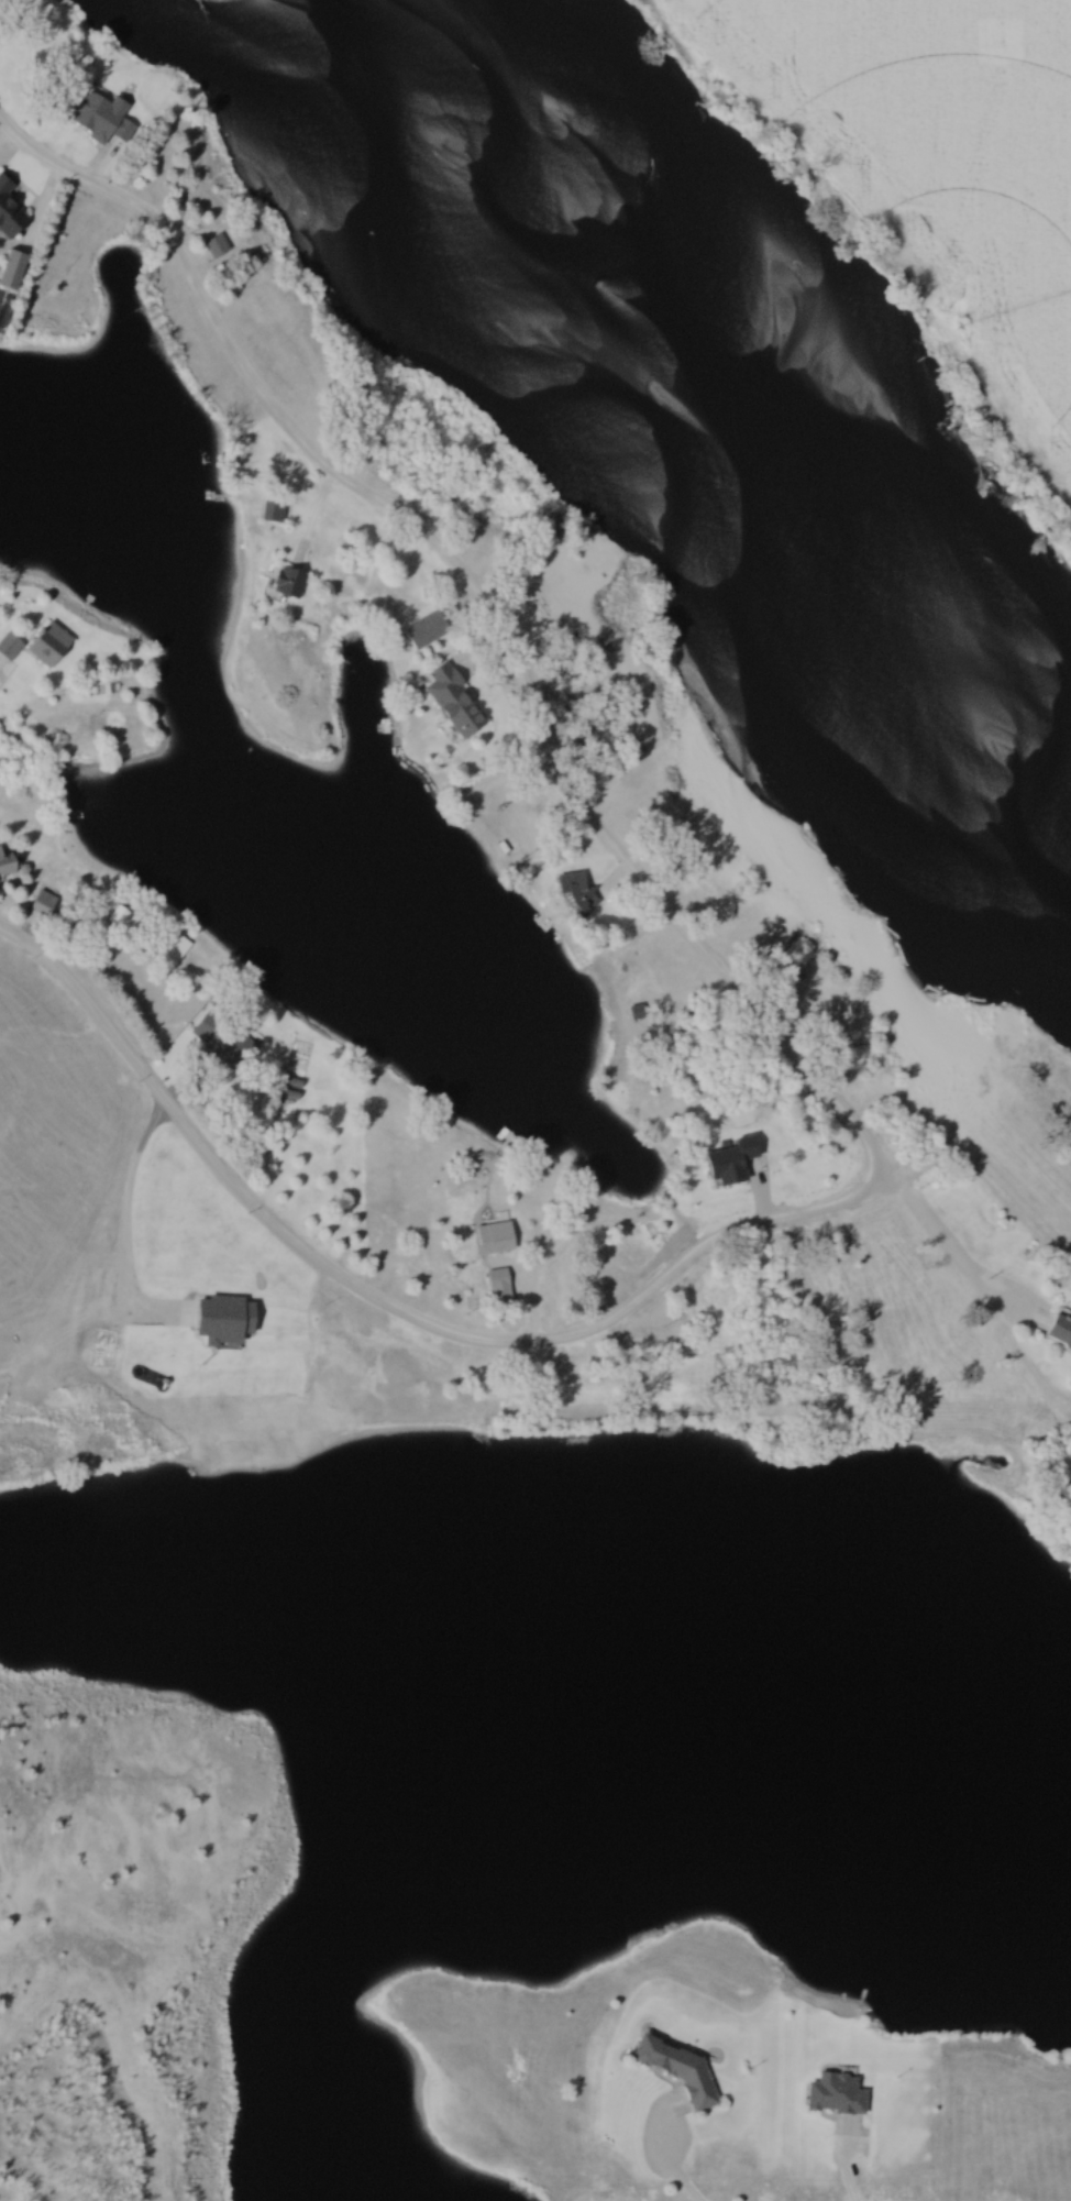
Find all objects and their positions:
building: (98, 118)
road: (10, 143)
building: (8, 212)
building: (213, 246)
building: (9, 269)
river: (775, 343)
building: (270, 513)
building: (285, 584)
building: (36, 643)
road: (525, 695)
building: (451, 700)
building: (4, 866)
building: (574, 892)
building: (37, 907)
building: (114, 917)
building: (172, 951)
building: (636, 1012)
building: (233, 1052)
road: (586, 1215)
building: (492, 1237)
building: (497, 1288)
road: (391, 1307)
building: (1058, 1331)
building: (675, 2069)
building: (832, 2094)
road: (846, 2181)
road: (686, 2187)

